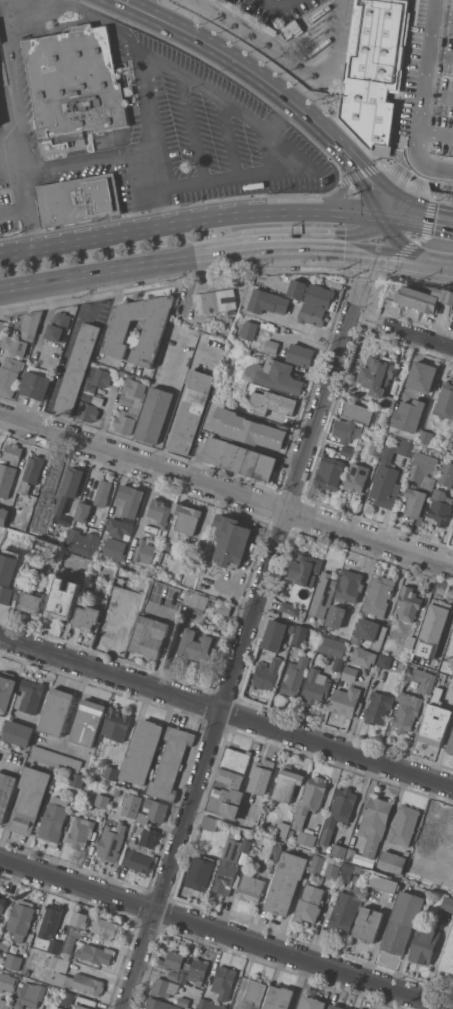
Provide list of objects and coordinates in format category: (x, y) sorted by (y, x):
building: (230, 4)
road: (278, 5)
road: (6, 9)
road: (25, 9)
building: (249, 16)
road: (444, 16)
building: (268, 28)
building: (291, 29)
building: (0, 42)
road: (441, 55)
road: (240, 60)
road: (287, 63)
road: (427, 65)
building: (402, 74)
road: (187, 77)
building: (76, 82)
road: (438, 95)
road: (282, 115)
road: (195, 128)
road: (21, 133)
road: (436, 134)
road: (232, 138)
road: (83, 161)
road: (425, 161)
road: (223, 179)
road: (364, 180)
road: (154, 188)
road: (342, 190)
building: (79, 200)
road: (14, 209)
road: (344, 215)
road: (234, 217)
traffic signals: (384, 218)
road: (407, 220)
road: (441, 223)
road: (357, 236)
road: (81, 242)
road: (400, 245)
road: (282, 247)
road: (349, 249)
traffic signals: (372, 250)
road: (223, 251)
road: (401, 254)
road: (441, 260)
road: (103, 270)
building: (297, 287)
building: (320, 295)
building: (424, 298)
building: (215, 301)
building: (267, 301)
building: (312, 314)
building: (229, 319)
building: (30, 325)
building: (58, 325)
building: (2, 327)
building: (120, 327)
building: (250, 329)
road: (417, 335)
building: (15, 344)
building: (248, 350)
building: (290, 352)
road: (68, 353)
building: (77, 369)
building: (378, 374)
building: (10, 375)
building: (274, 375)
building: (97, 379)
building: (35, 385)
building: (418, 390)
building: (133, 392)
building: (87, 396)
building: (389, 401)
building: (445, 401)
building: (273, 403)
building: (190, 410)
building: (87, 411)
building: (357, 411)
building: (154, 415)
building: (126, 420)
road: (167, 420)
road: (103, 421)
building: (452, 425)
building: (404, 428)
building: (249, 429)
building: (346, 430)
building: (426, 436)
building: (450, 444)
building: (375, 449)
building: (347, 450)
building: (13, 453)
building: (240, 458)
building: (424, 469)
building: (31, 473)
building: (329, 473)
building: (446, 474)
building: (389, 475)
building: (356, 477)
building: (6, 479)
building: (50, 480)
building: (69, 487)
road: (226, 490)
building: (102, 492)
building: (131, 499)
building: (414, 501)
building: (439, 507)
building: (83, 511)
building: (159, 511)
building: (3, 515)
building: (187, 517)
building: (119, 528)
building: (452, 529)
building: (92, 539)
building: (232, 540)
building: (114, 548)
building: (144, 551)
building: (305, 569)
building: (7, 573)
building: (120, 581)
building: (21, 584)
building: (350, 586)
building: (323, 595)
building: (378, 595)
building: (63, 599)
building: (201, 600)
building: (32, 601)
building: (408, 603)
building: (225, 608)
building: (292, 609)
building: (438, 612)
building: (336, 616)
building: (86, 617)
building: (117, 627)
building: (452, 627)
building: (367, 628)
road: (249, 630)
building: (150, 636)
building: (275, 636)
building: (300, 636)
building: (411, 641)
building: (198, 646)
building: (333, 650)
building: (437, 651)
building: (364, 657)
building: (384, 660)
building: (350, 673)
building: (267, 674)
building: (452, 674)
building: (295, 676)
building: (424, 680)
building: (448, 681)
building: (316, 686)
building: (6, 691)
building: (31, 695)
building: (346, 701)
building: (378, 707)
building: (56, 711)
building: (407, 711)
road: (226, 712)
building: (435, 719)
building: (88, 722)
building: (116, 724)
building: (18, 733)
building: (450, 743)
building: (142, 751)
building: (45, 755)
building: (69, 762)
building: (170, 763)
building: (111, 773)
building: (260, 775)
building: (76, 779)
building: (229, 783)
building: (287, 784)
building: (5, 792)
building: (30, 800)
building: (102, 800)
building: (134, 806)
building: (153, 811)
building: (302, 811)
building: (338, 812)
building: (54, 819)
building: (210, 822)
building: (374, 823)
building: (404, 825)
building: (282, 829)
building: (81, 830)
building: (291, 832)
building: (433, 833)
building: (257, 835)
building: (148, 836)
building: (112, 842)
building: (133, 844)
building: (337, 850)
building: (276, 852)
building: (349, 854)
building: (449, 854)
building: (137, 861)
building: (392, 861)
building: (324, 865)
building: (230, 866)
building: (201, 871)
building: (352, 871)
building: (452, 878)
building: (286, 882)
building: (384, 883)
building: (250, 887)
building: (447, 903)
building: (309, 904)
building: (2, 905)
building: (343, 913)
building: (21, 919)
building: (51, 920)
building: (80, 920)
building: (402, 921)
building: (368, 924)
building: (107, 927)
road: (226, 933)
building: (71, 940)
building: (425, 945)
building: (54, 946)
building: (96, 954)
building: (448, 954)
building: (171, 960)
building: (13, 961)
building: (57, 963)
building: (26, 971)
building: (194, 971)
building: (174, 975)
building: (224, 981)
building: (7, 982)
building: (80, 982)
building: (165, 987)
building: (255, 993)
building: (28, 994)
building: (69, 996)
building: (279, 998)
building: (183, 1001)
building: (204, 1003)
building: (312, 1003)
building: (4, 1004)
building: (158, 1004)
building: (216, 1005)
road: (452, 1006)
building: (56, 1007)
building: (83, 1007)
building: (336, 1007)

